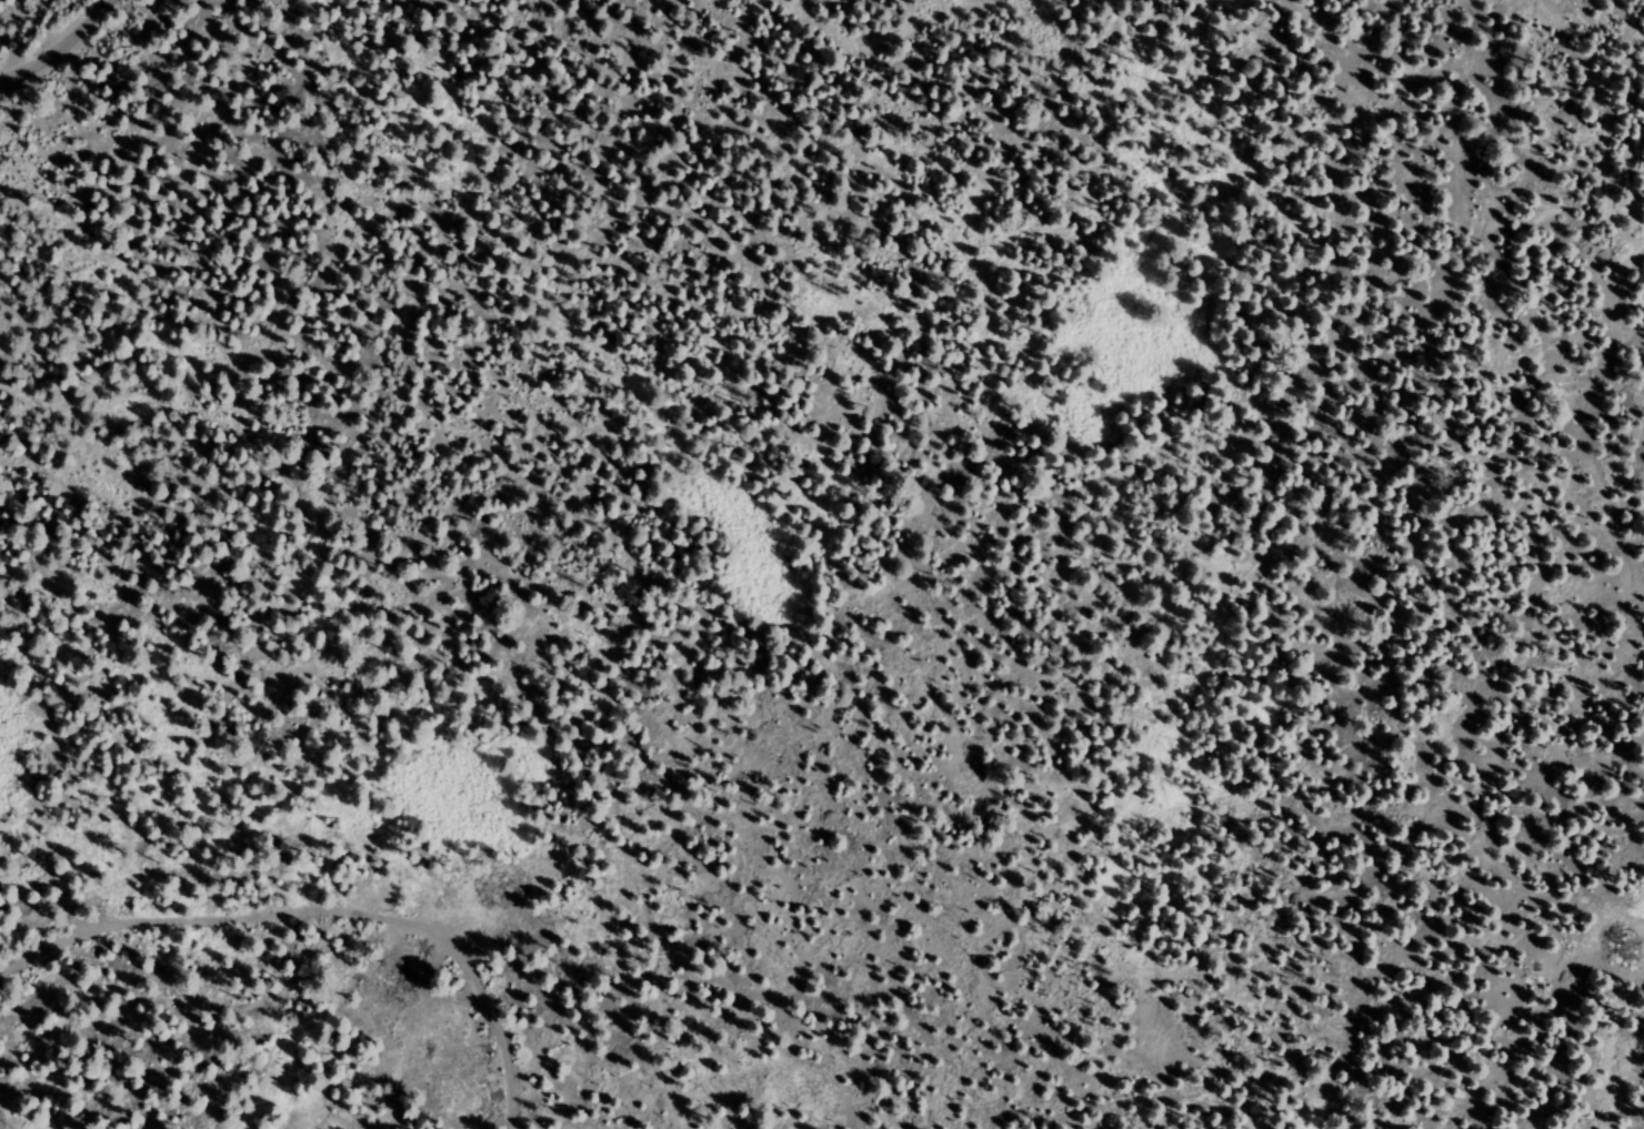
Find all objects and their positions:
road: (58, 44)
road: (323, 908)

